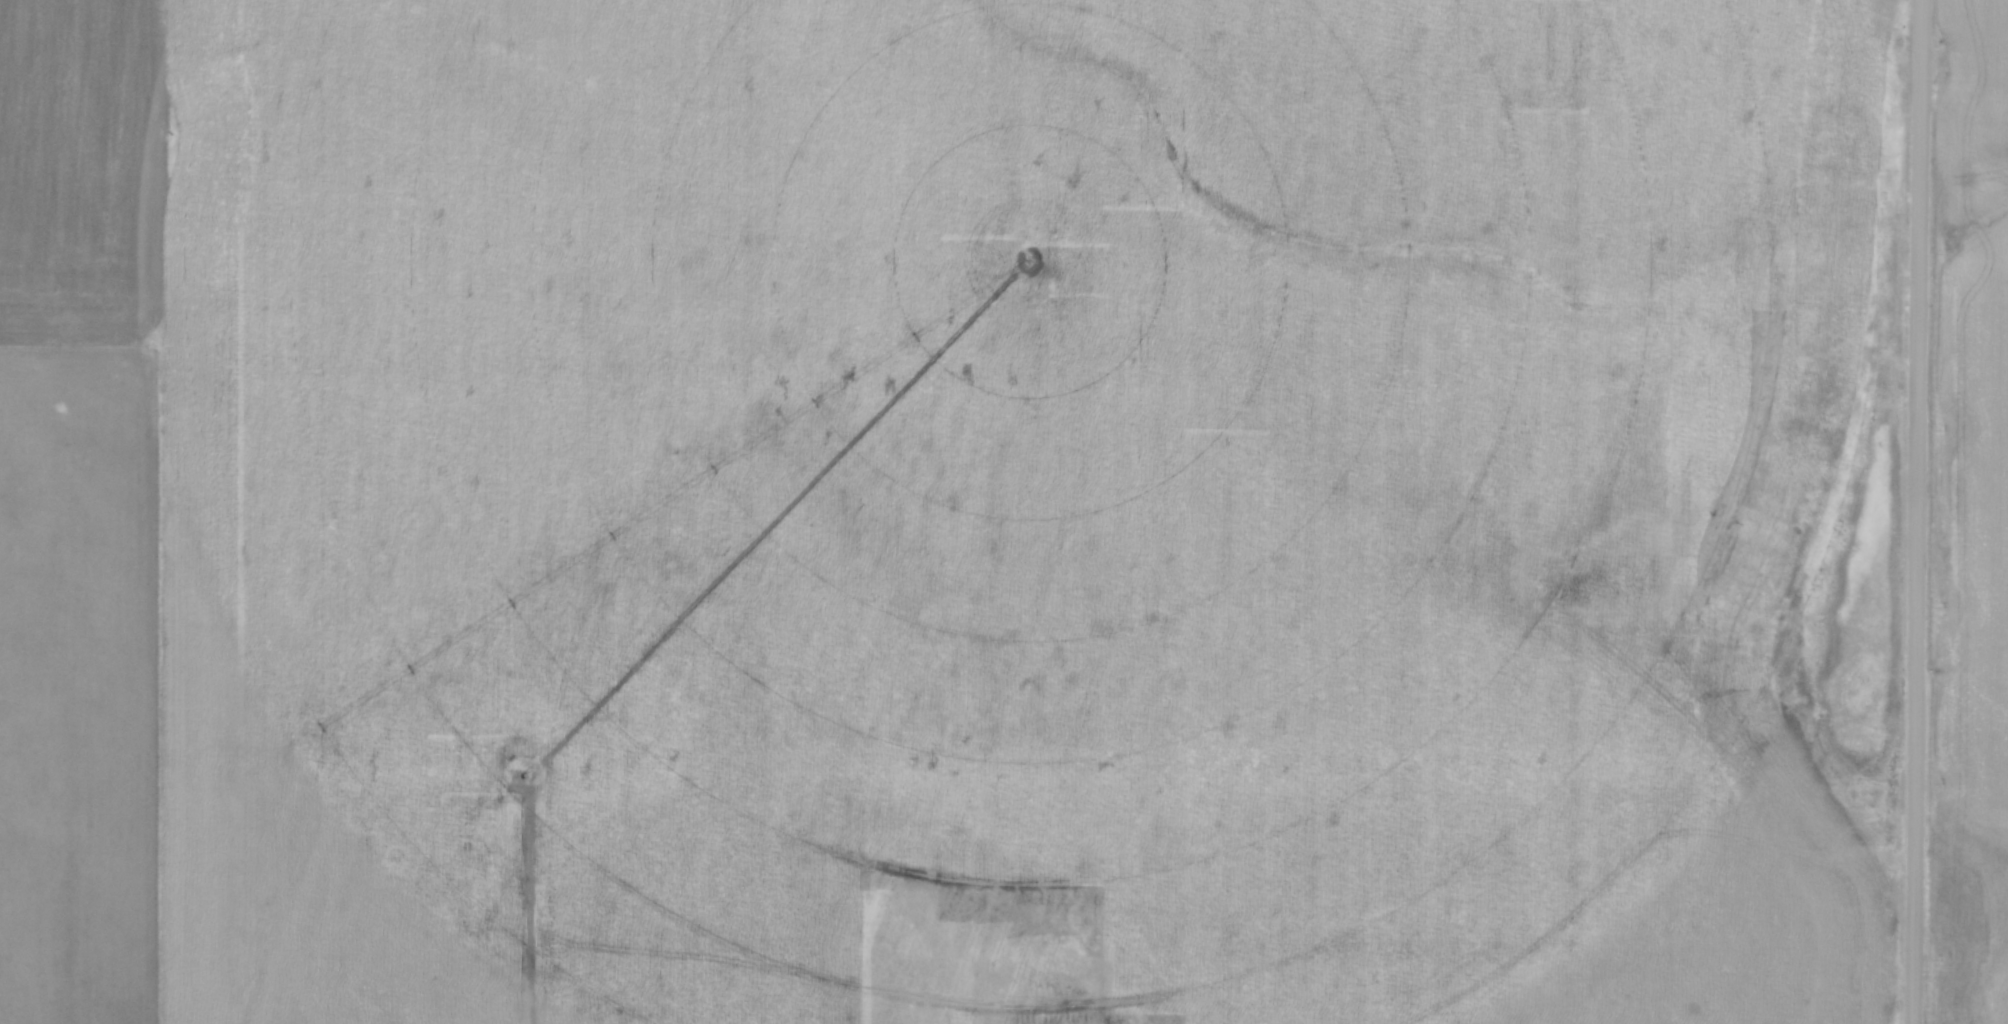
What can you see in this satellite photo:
crop: (927, 510)
road: (1918, 511)
crop: (1972, 530)

